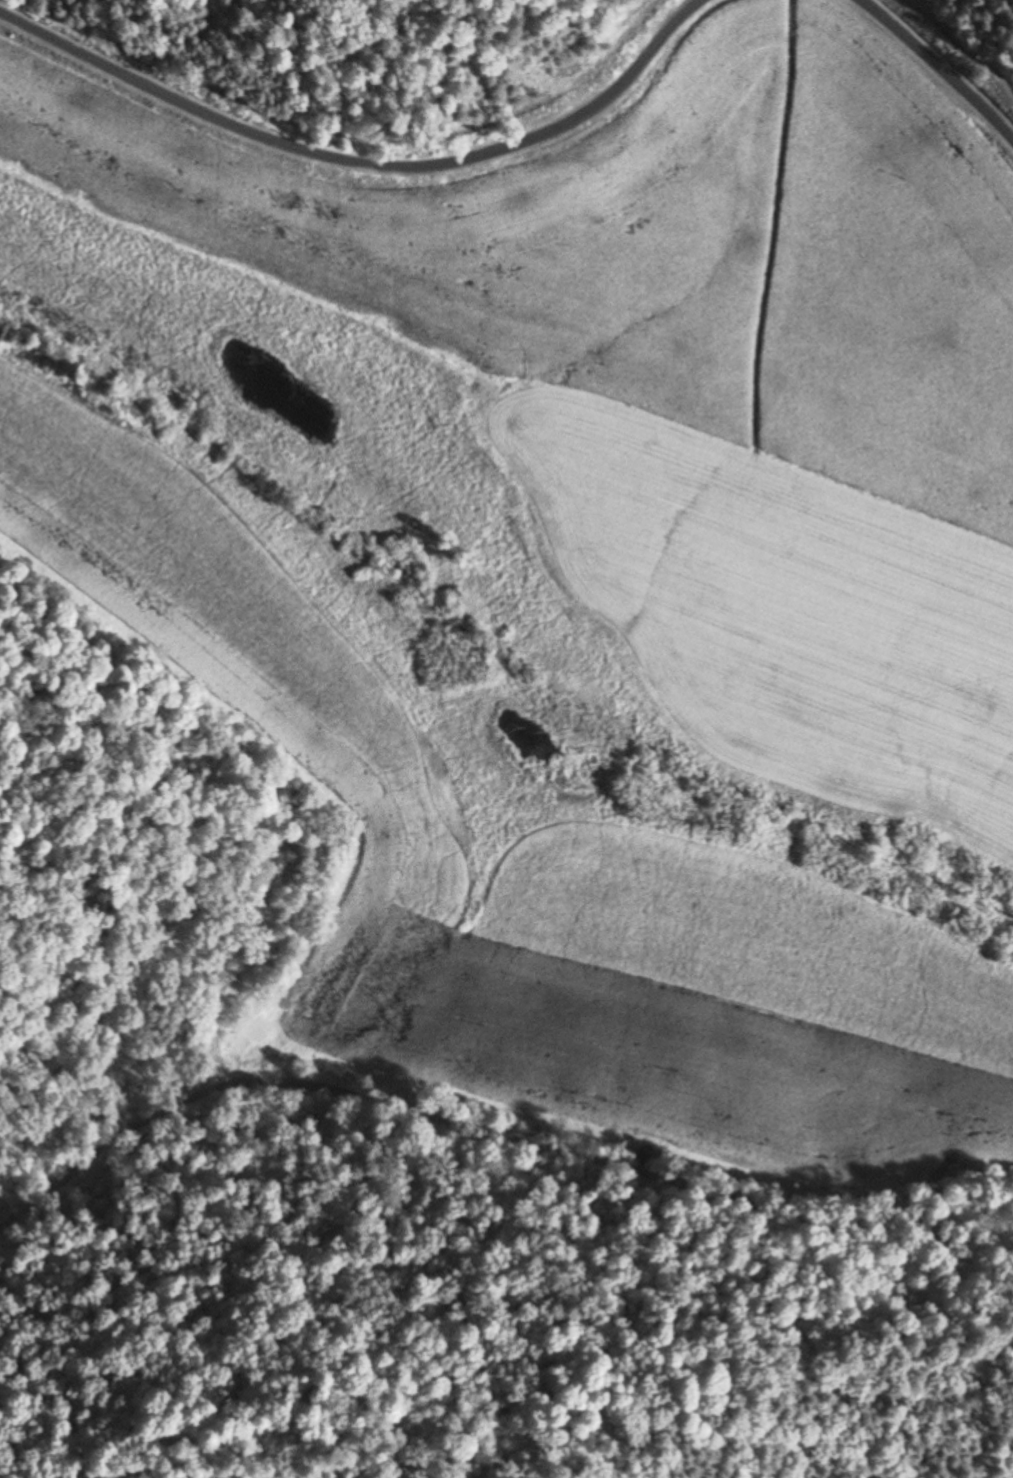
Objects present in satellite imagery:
road: (947, 61)
road: (378, 176)

